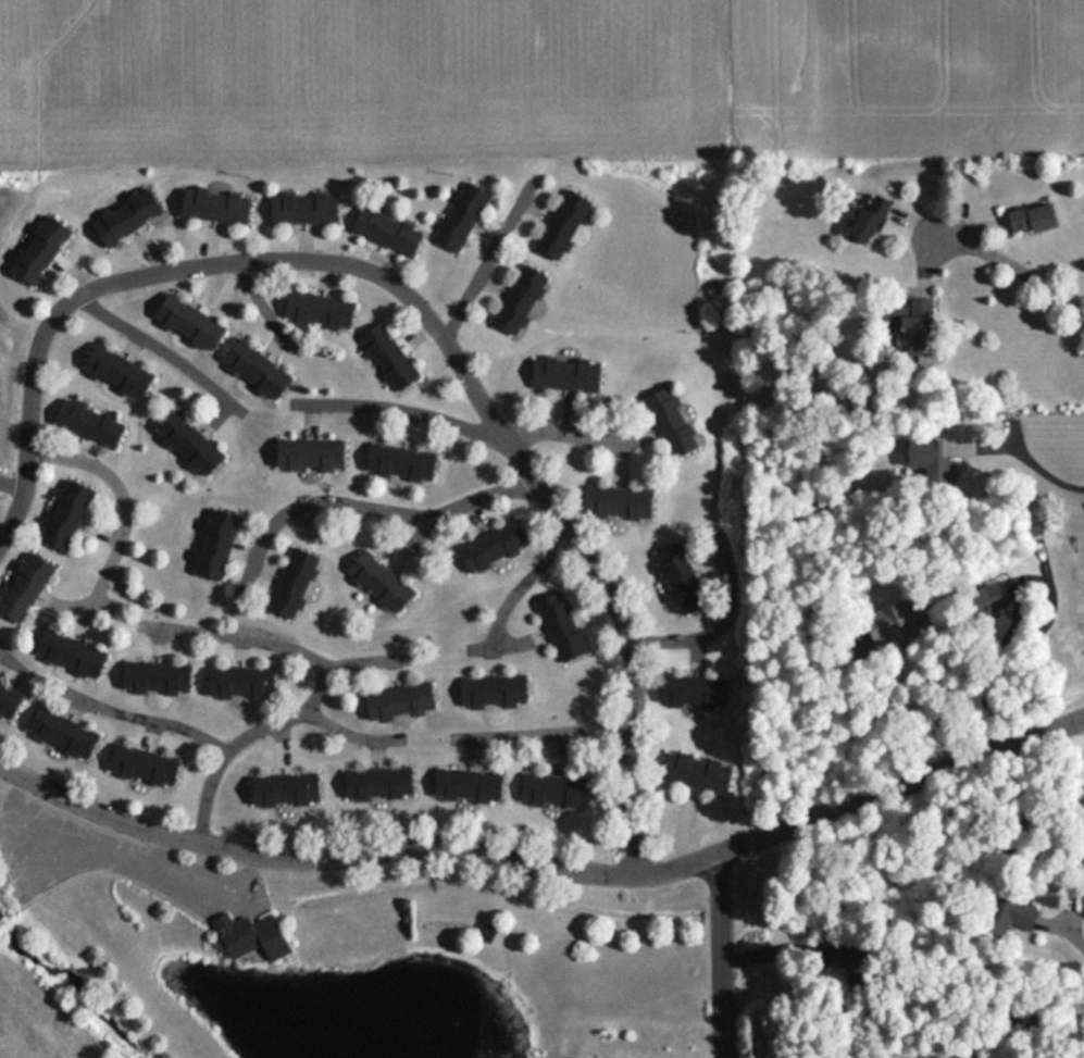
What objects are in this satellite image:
building: (212, 204)
building: (301, 208)
building: (122, 215)
building: (458, 216)
building: (1027, 219)
building: (862, 220)
building: (559, 224)
building: (384, 229)
building: (36, 249)
road: (488, 261)
road: (1005, 262)
road: (77, 295)
building: (516, 299)
road: (263, 309)
building: (315, 309)
building: (186, 322)
building: (912, 328)
road: (161, 352)
building: (385, 356)
building: (253, 369)
building: (113, 371)
building: (563, 373)
road: (396, 409)
building: (668, 420)
building: (86, 422)
road: (1009, 427)
road: (564, 434)
building: (186, 444)
building: (307, 453)
building: (922, 453)
building: (397, 462)
road: (13, 486)
building: (614, 502)
road: (363, 508)
road: (125, 513)
building: (63, 515)
road: (569, 530)
building: (212, 544)
building: (488, 547)
building: (676, 577)
building: (376, 581)
building: (290, 584)
road: (522, 585)
building: (22, 587)
building: (897, 618)
building: (559, 625)
road: (718, 626)
building: (67, 654)
road: (363, 662)
road: (11, 663)
building: (152, 676)
building: (236, 681)
road: (317, 688)
building: (489, 689)
building: (690, 690)
building: (396, 700)
building: (7, 701)
road: (144, 720)
building: (58, 733)
road: (539, 735)
road: (349, 736)
building: (140, 764)
building: (694, 771)
building: (375, 782)
building: (463, 784)
building: (281, 789)
building: (551, 789)
road: (545, 871)
building: (1014, 914)
road: (1063, 926)
building: (246, 937)
road: (723, 955)

